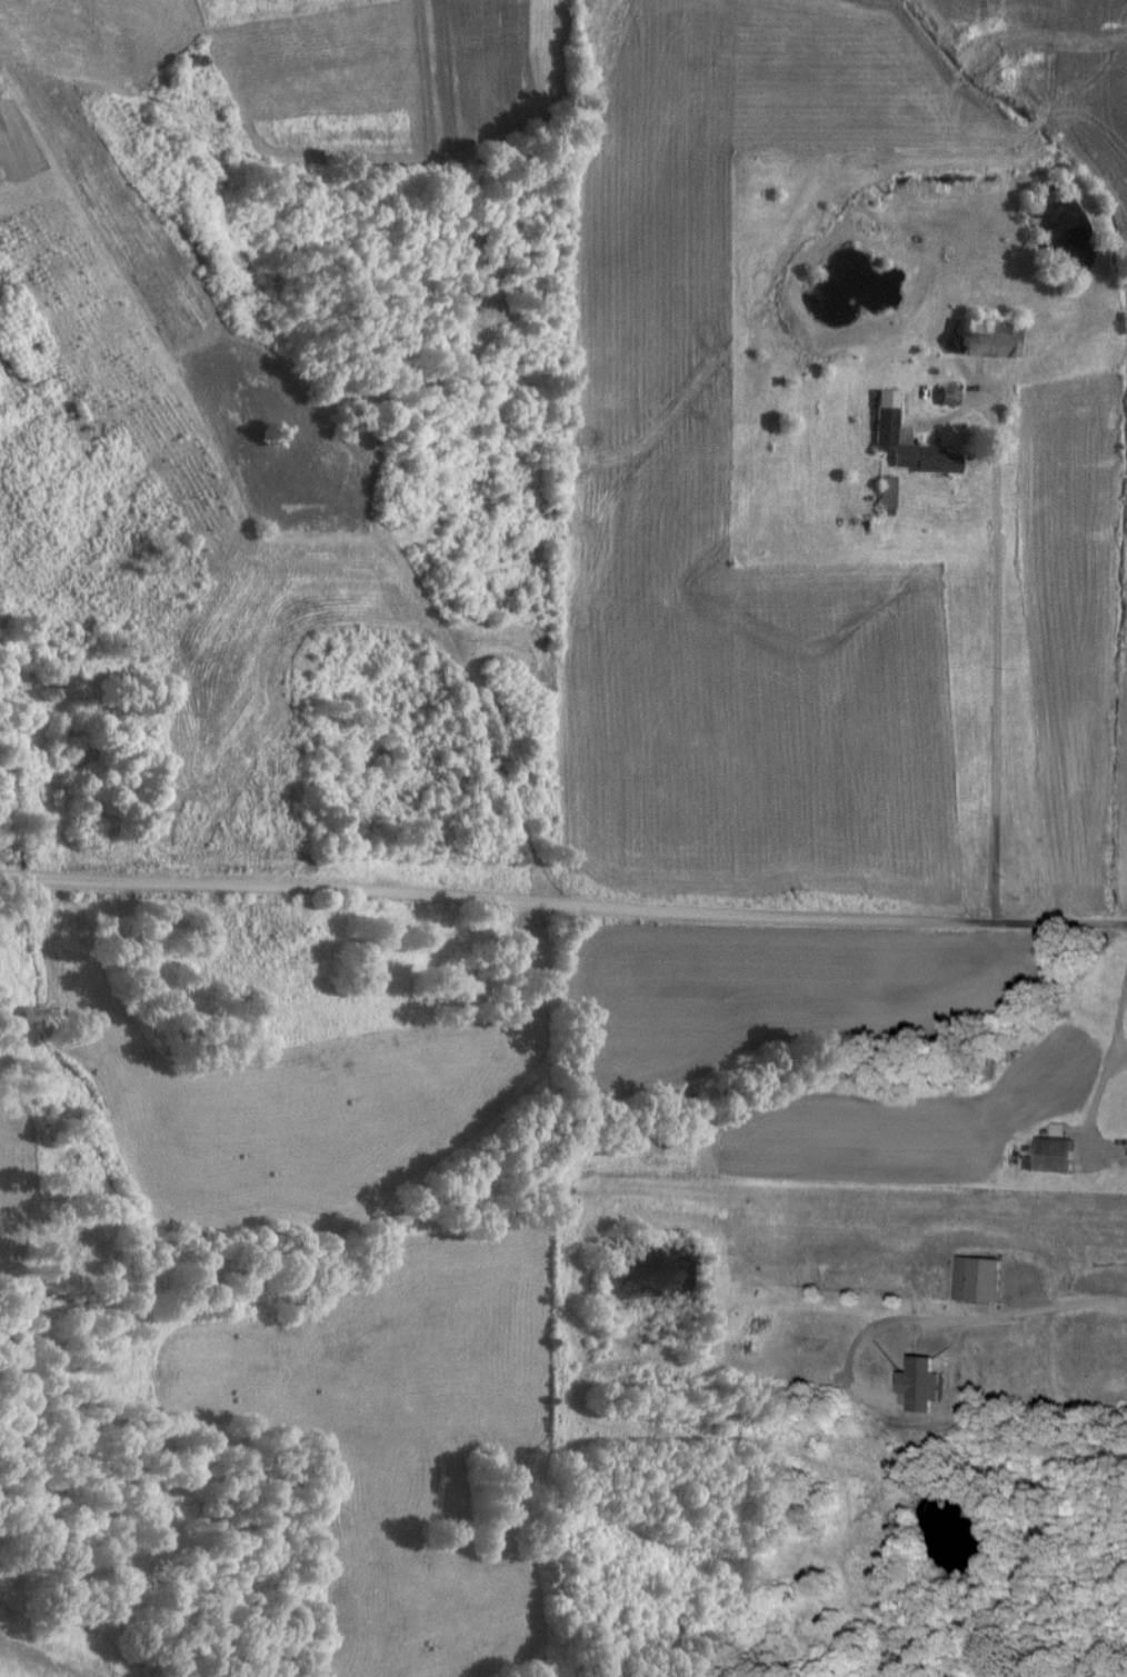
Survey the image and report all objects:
building: (885, 437)
road: (994, 625)
road: (562, 904)
road: (1120, 1019)
building: (1051, 1155)
building: (977, 1279)
road: (1025, 1311)
building: (918, 1384)

